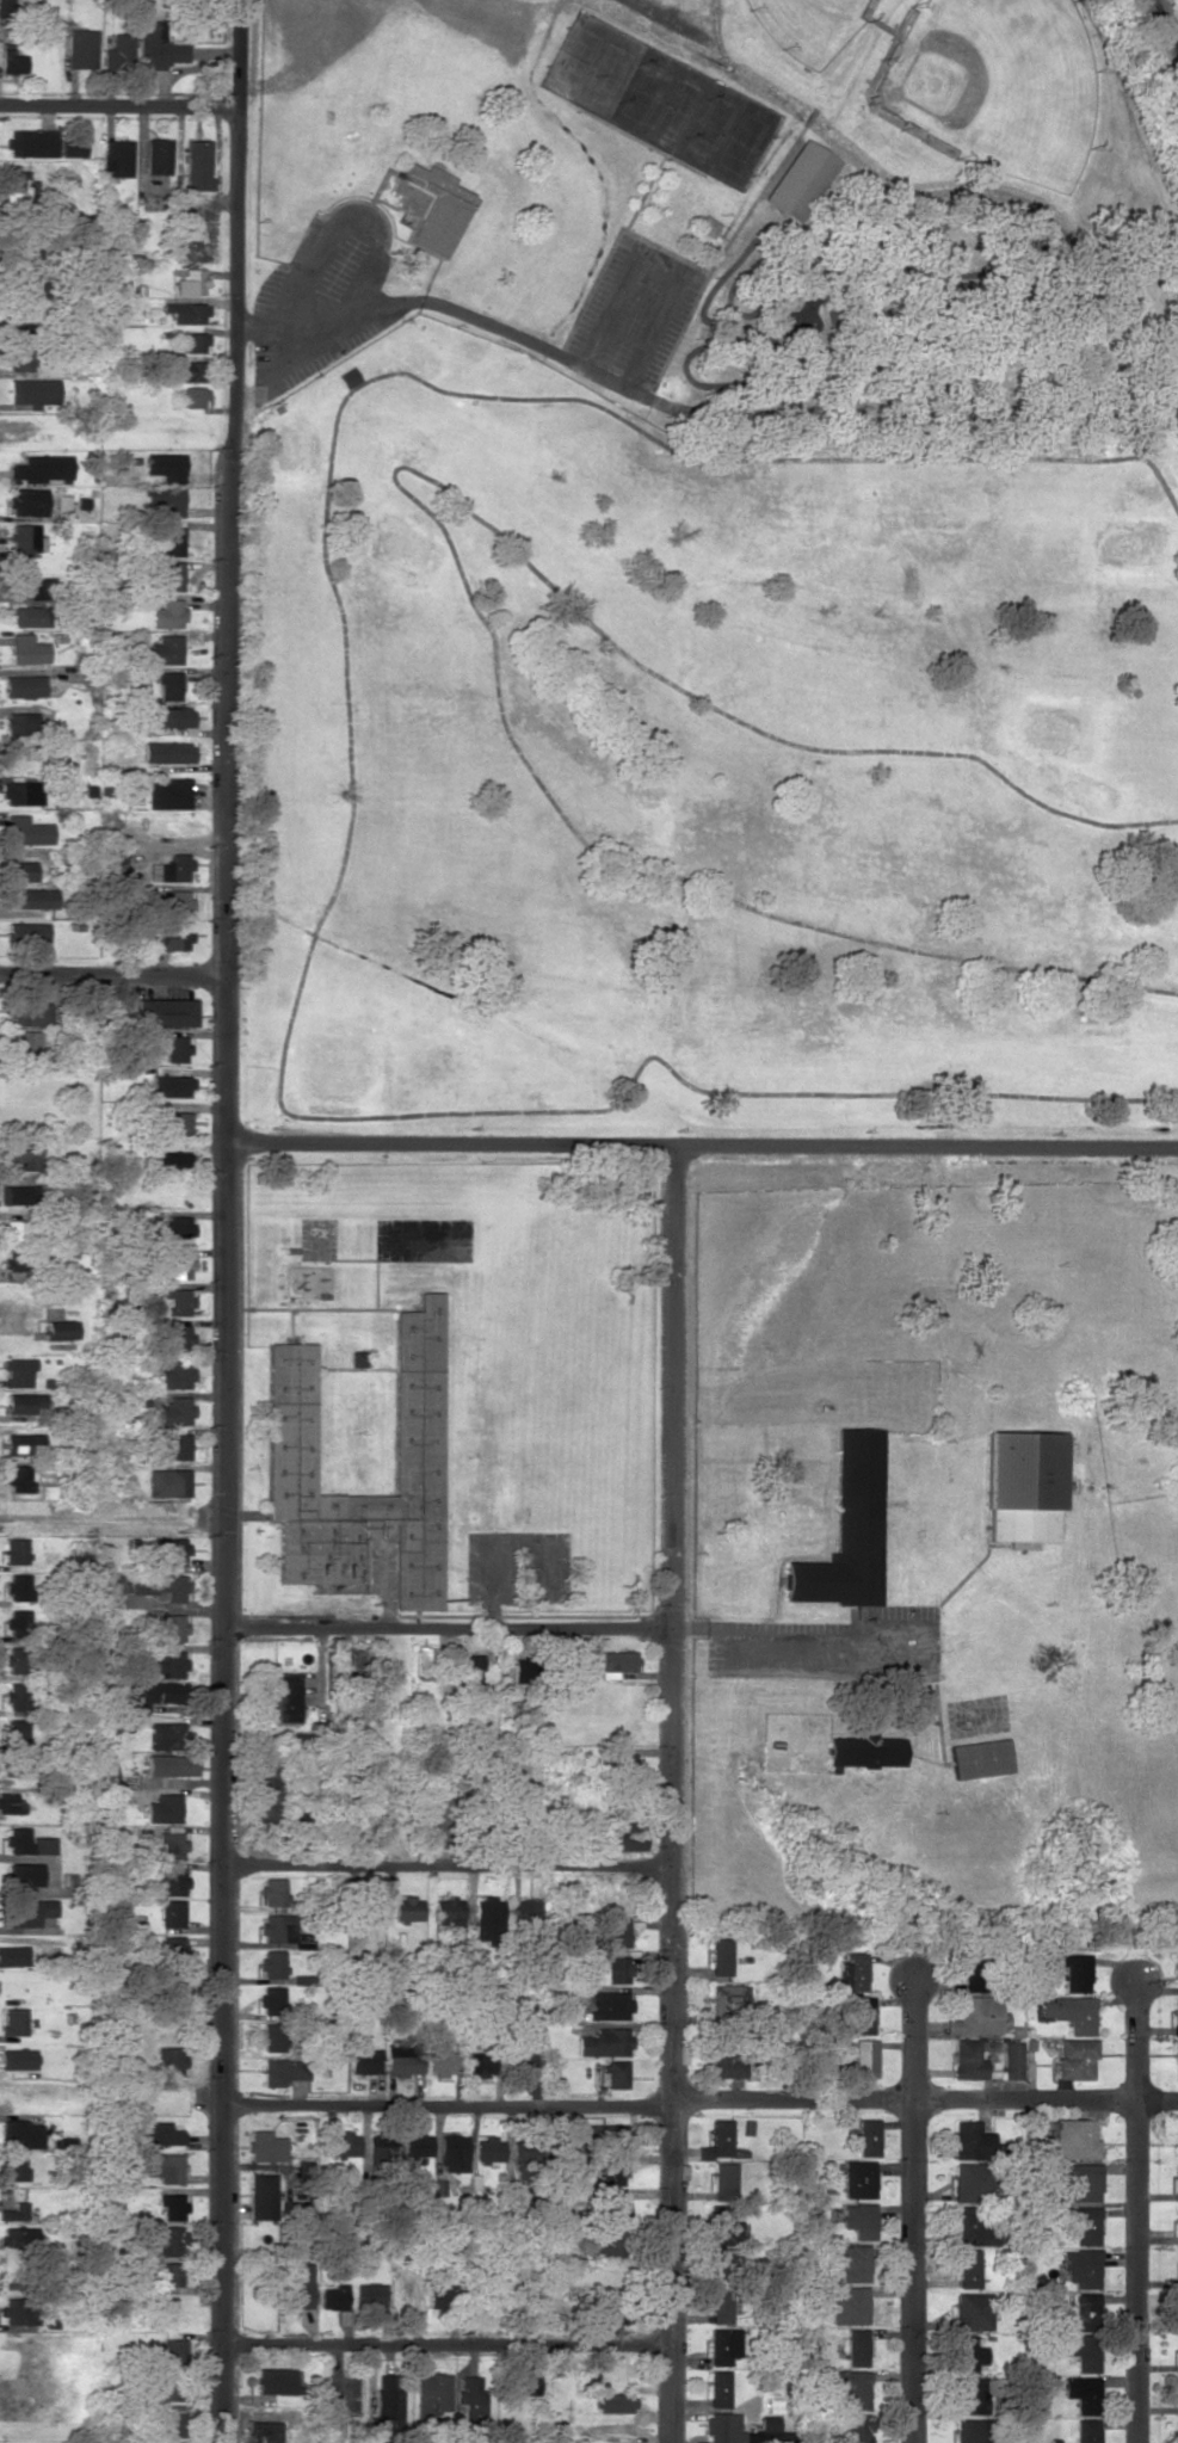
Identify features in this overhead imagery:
building: (5, 7)
railway: (1165, 24)
park: (808, 25)
road: (716, 30)
building: (158, 47)
building: (81, 48)
building: (118, 49)
road: (239, 55)
park: (578, 57)
building: (12, 60)
park: (607, 73)
park: (997, 85)
park: (644, 92)
road: (119, 109)
park: (674, 109)
park: (709, 127)
park: (740, 142)
building: (30, 143)
building: (73, 148)
building: (158, 155)
building: (117, 158)
building: (198, 165)
building: (802, 180)
building: (428, 208)
building: (705, 226)
building: (27, 252)
building: (190, 282)
building: (33, 292)
building: (185, 311)
building: (193, 341)
building: (18, 354)
building: (187, 370)
building: (31, 391)
building: (193, 396)
building: (165, 465)
building: (44, 468)
building: (26, 501)
building: (162, 501)
building: (61, 505)
building: (25, 539)
building: (171, 541)
building: (168, 575)
building: (42, 587)
building: (167, 613)
building: (29, 616)
building: (27, 649)
building: (165, 649)
building: (168, 685)
building: (24, 686)
building: (168, 716)
building: (19, 723)
building: (177, 752)
building: (20, 792)
building: (169, 792)
building: (26, 831)
building: (20, 870)
building: (30, 897)
building: (26, 932)
building: (173, 936)
road: (112, 977)
building: (35, 1012)
building: (164, 1012)
building: (27, 1044)
building: (174, 1048)
building: (169, 1086)
building: (171, 1122)
road: (703, 1141)
building: (172, 1161)
building: (18, 1193)
building: (18, 1229)
building: (171, 1229)
building: (13, 1258)
building: (177, 1267)
road: (228, 1276)
building: (177, 1301)
building: (60, 1330)
building: (177, 1338)
building: (18, 1371)
building: (174, 1374)
building: (23, 1401)
building: (174, 1411)
building: (419, 1418)
building: (24, 1444)
building: (177, 1446)
building: (19, 1477)
building: (167, 1482)
building: (1022, 1485)
building: (47, 1491)
road: (113, 1522)
building: (847, 1528)
building: (16, 1550)
building: (166, 1550)
building: (17, 1586)
building: (149, 1588)
building: (16, 1623)
building: (173, 1627)
road: (450, 1630)
building: (14, 1659)
building: (357, 1660)
building: (425, 1660)
building: (617, 1662)
building: (165, 1664)
building: (520, 1668)
building: (469, 1670)
building: (150, 1694)
building: (17, 1696)
building: (283, 1697)
building: (17, 1732)
building: (165, 1735)
building: (866, 1750)
building: (980, 1758)
building: (169, 1765)
building: (19, 1766)
building: (107, 1770)
building: (265, 1788)
road: (672, 1791)
building: (11, 1803)
building: (164, 1808)
building: (301, 1822)
building: (630, 1836)
building: (26, 1841)
building: (172, 1844)
road: (925, 1856)
road: (448, 1865)
building: (24, 1875)
building: (173, 1880)
building: (272, 1892)
building: (407, 1907)
building: (27, 1912)
building: (449, 1912)
building: (172, 1913)
building: (528, 1914)
building: (488, 1919)
building: (277, 1927)
building: (615, 1931)
building: (173, 1948)
building: (12, 1955)
building: (720, 1956)
building: (272, 1963)
building: (1177, 1966)
building: (615, 1968)
building: (852, 1970)
building: (1075, 1972)
building: (975, 1973)
building: (272, 2000)
building: (730, 2000)
building: (609, 2005)
building: (1069, 2012)
building: (859, 2015)
building: (977, 2016)
building: (1174, 2016)
building: (13, 2021)
building: (272, 2036)
building: (604, 2042)
building: (1176, 2049)
building: (405, 2058)
building: (863, 2058)
building: (17, 2059)
building: (967, 2059)
building: (1012, 2059)
building: (522, 2060)
building: (1073, 2060)
building: (171, 2061)
building: (365, 2061)
building: (439, 2062)
building: (480, 2063)
building: (724, 2063)
building: (284, 2071)
building: (612, 2073)
road: (679, 2099)
building: (20, 2134)
building: (160, 2134)
building: (603, 2134)
building: (718, 2136)
building: (866, 2136)
building: (1073, 2139)
building: (344, 2143)
building: (417, 2143)
building: (266, 2146)
building: (375, 2149)
building: (488, 2149)
building: (1176, 2149)
building: (528, 2152)
building: (452, 2153)
building: (13, 2166)
building: (165, 2166)
building: (612, 2173)
building: (858, 2179)
building: (722, 2180)
building: (969, 2180)
building: (1083, 2182)
building: (1177, 2182)
building: (263, 2195)
building: (171, 2206)
building: (611, 2206)
road: (913, 2209)
road: (1134, 2210)
building: (12, 2214)
building: (858, 2219)
building: (720, 2225)
building: (1085, 2225)
building: (1176, 2225)
building: (972, 2227)
building: (17, 2237)
building: (162, 2239)
building: (609, 2244)
building: (721, 2262)
building: (852, 2263)
building: (968, 2268)
building: (1080, 2268)
building: (1176, 2269)
building: (165, 2274)
building: (7, 2277)
building: (297, 2284)
building: (369, 2295)
building: (333, 2297)
building: (439, 2297)
building: (718, 2303)
building: (849, 2305)
building: (16, 2311)
building: (972, 2311)
building: (1085, 2311)
building: (1176, 2311)
building: (611, 2313)
road: (448, 2345)
building: (722, 2345)
building: (856, 2346)
building: (172, 2350)
building: (1080, 2350)
building: (968, 2353)
building: (1176, 2353)
building: (276, 2380)
building: (516, 2383)
building: (846, 2386)
building: (717, 2388)
building: (161, 2390)
building: (433, 2393)
building: (1081, 2393)
building: (970, 2395)
building: (1176, 2395)
building: (470, 2398)
building: (387, 2400)
building: (615, 2402)
building: (173, 2424)
building: (853, 2429)
building: (970, 2430)
building: (1085, 2430)
building: (1176, 2430)
building: (260, 2431)
building: (554, 2431)

